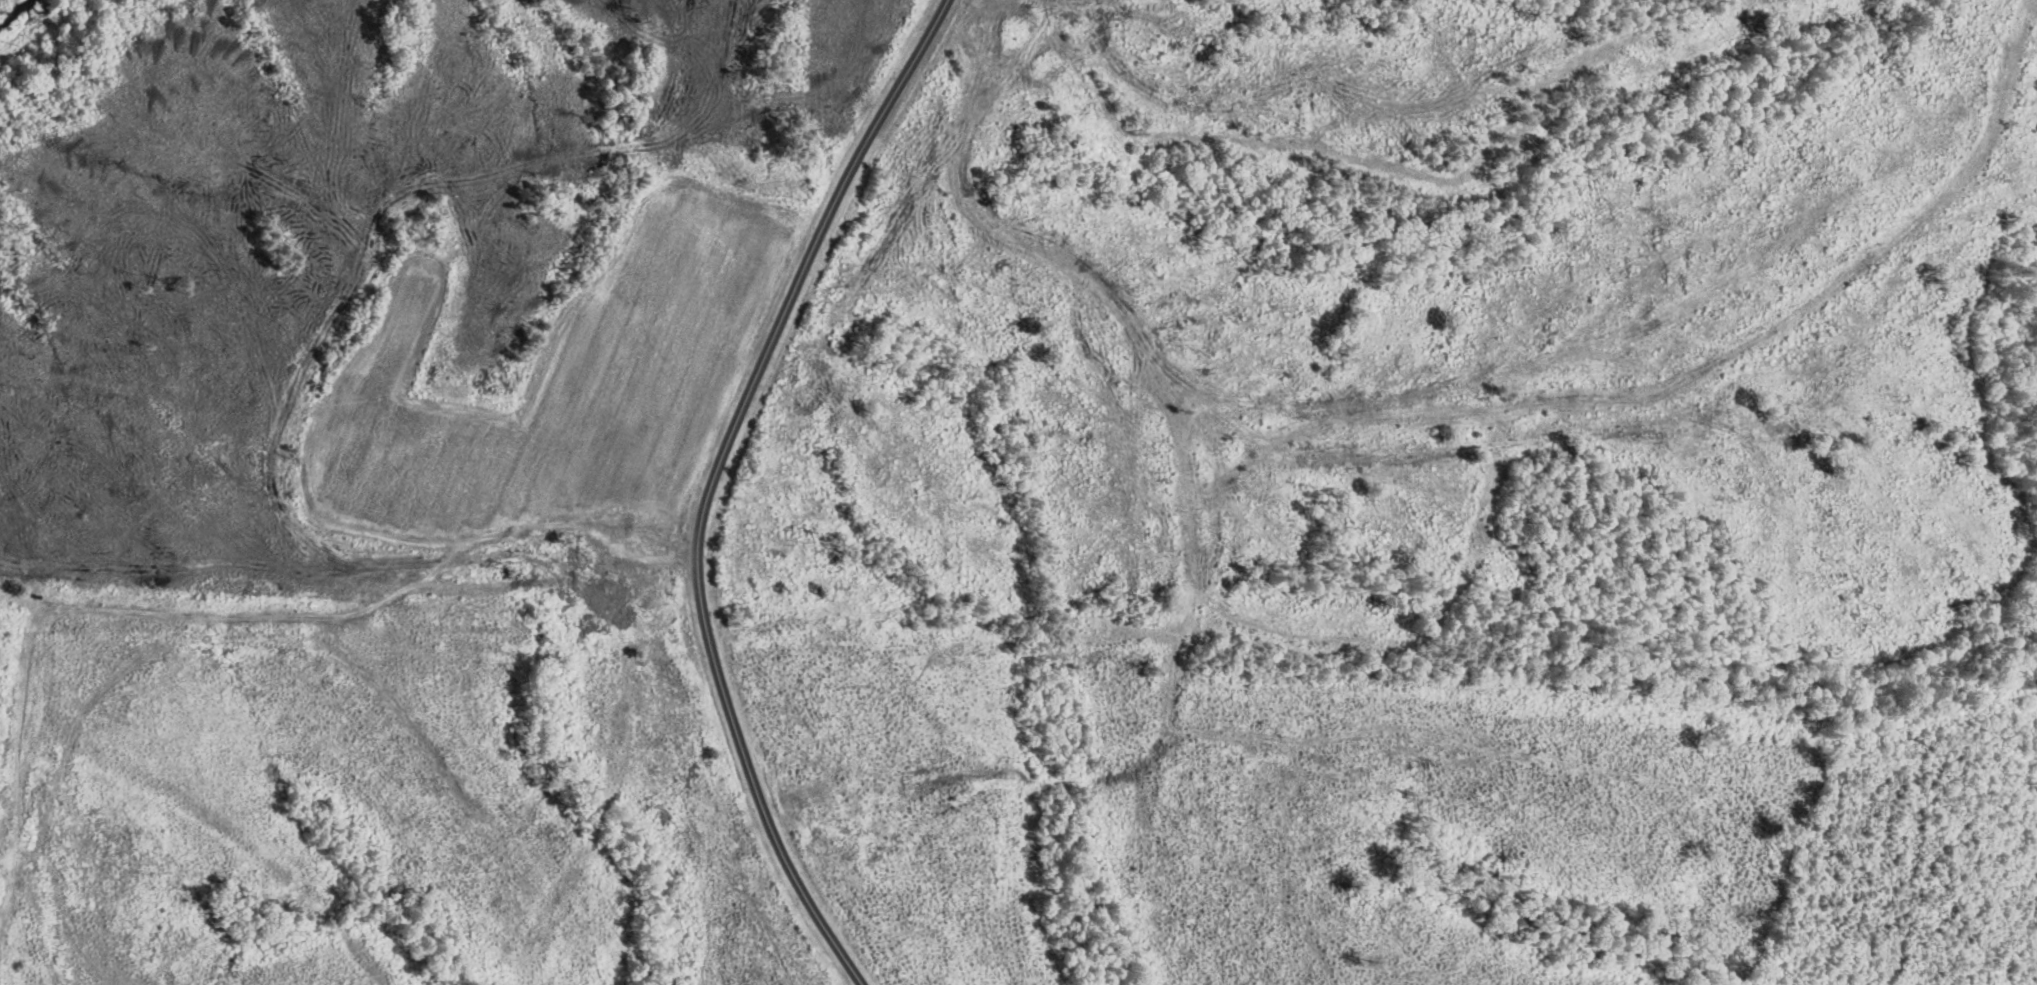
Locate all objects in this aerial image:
road: (711, 484)

